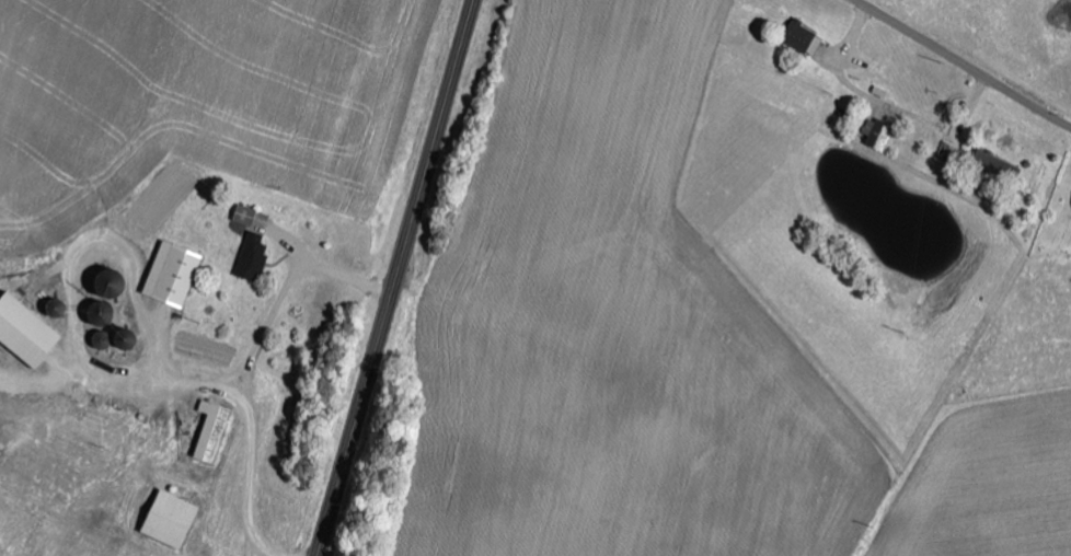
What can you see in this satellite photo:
building: (805, 37)
road: (963, 62)
building: (878, 132)
building: (246, 215)
building: (254, 255)
building: (174, 274)
road: (398, 278)
building: (27, 331)
building: (1, 358)
building: (214, 430)
building: (172, 519)

